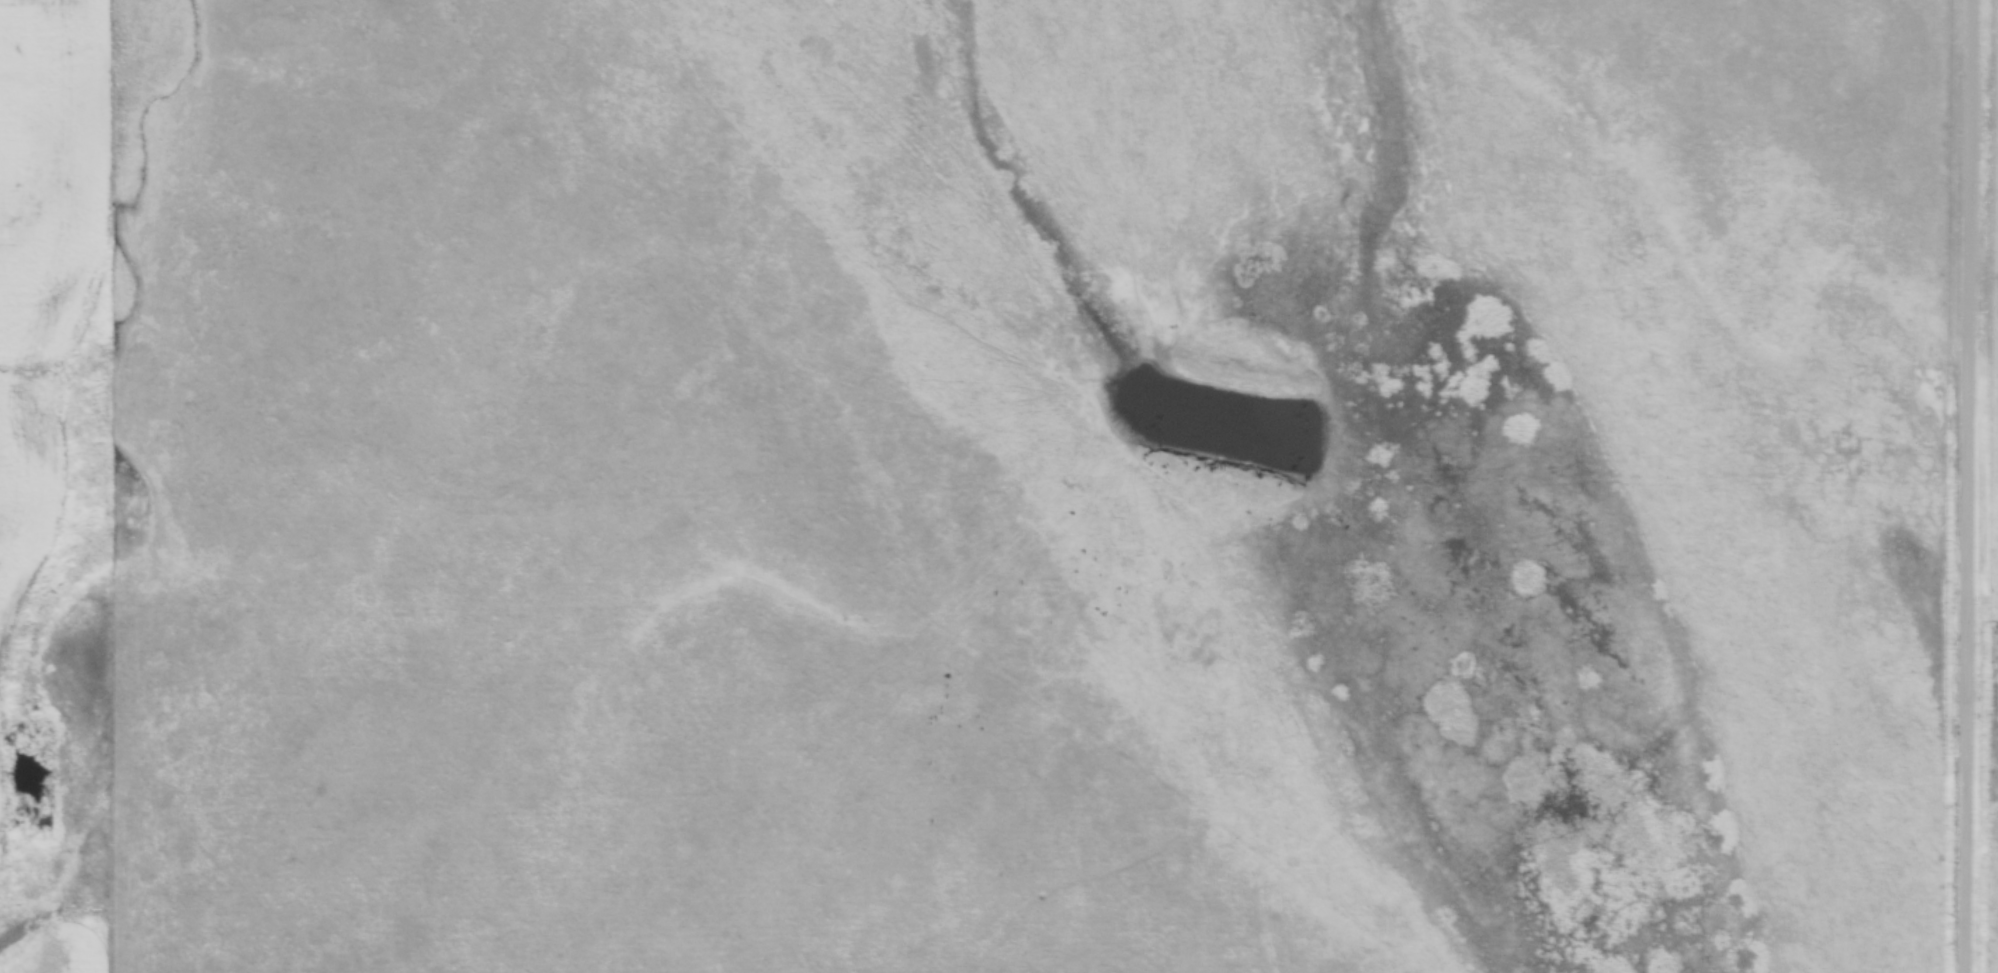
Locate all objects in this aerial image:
road: (1971, 486)

